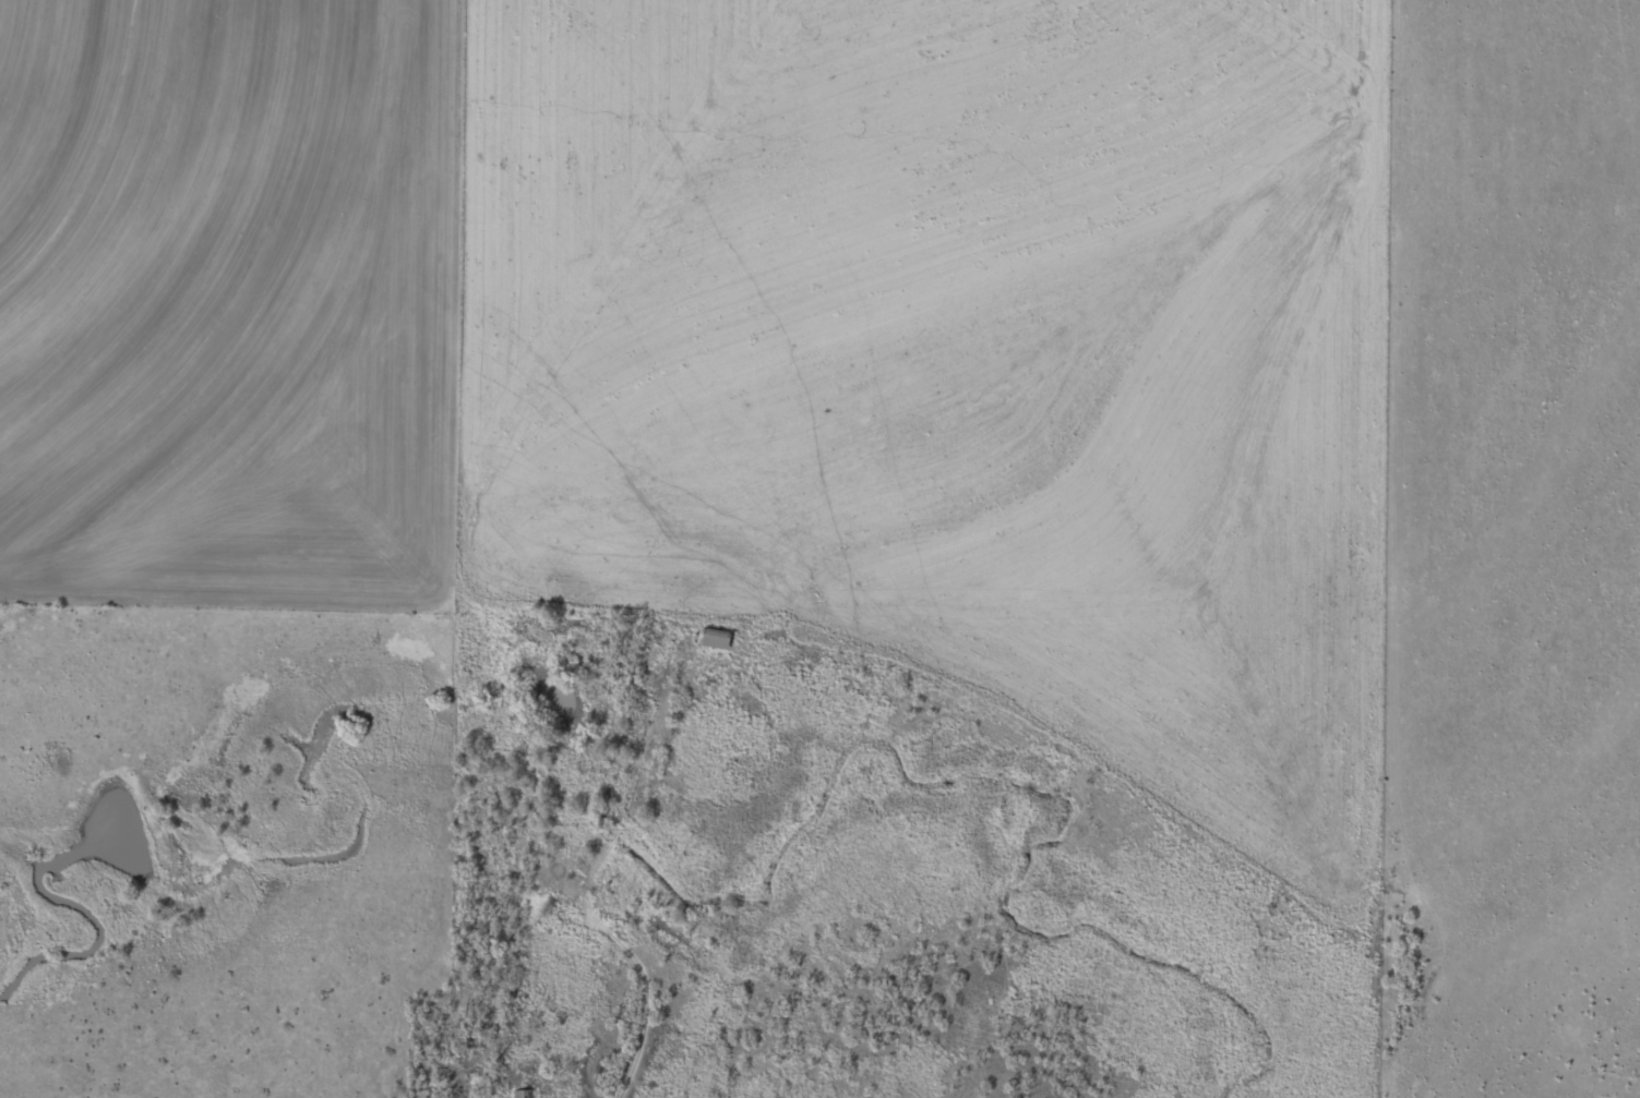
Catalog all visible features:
building: (715, 642)
road: (608, 868)

